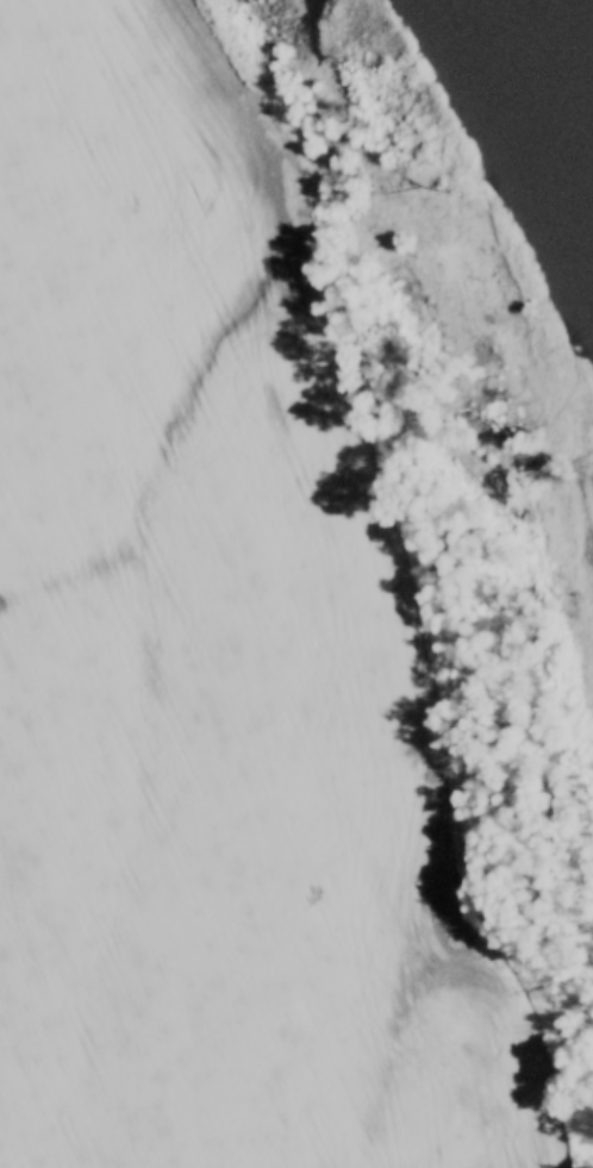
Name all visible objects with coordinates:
river: (550, 54)

